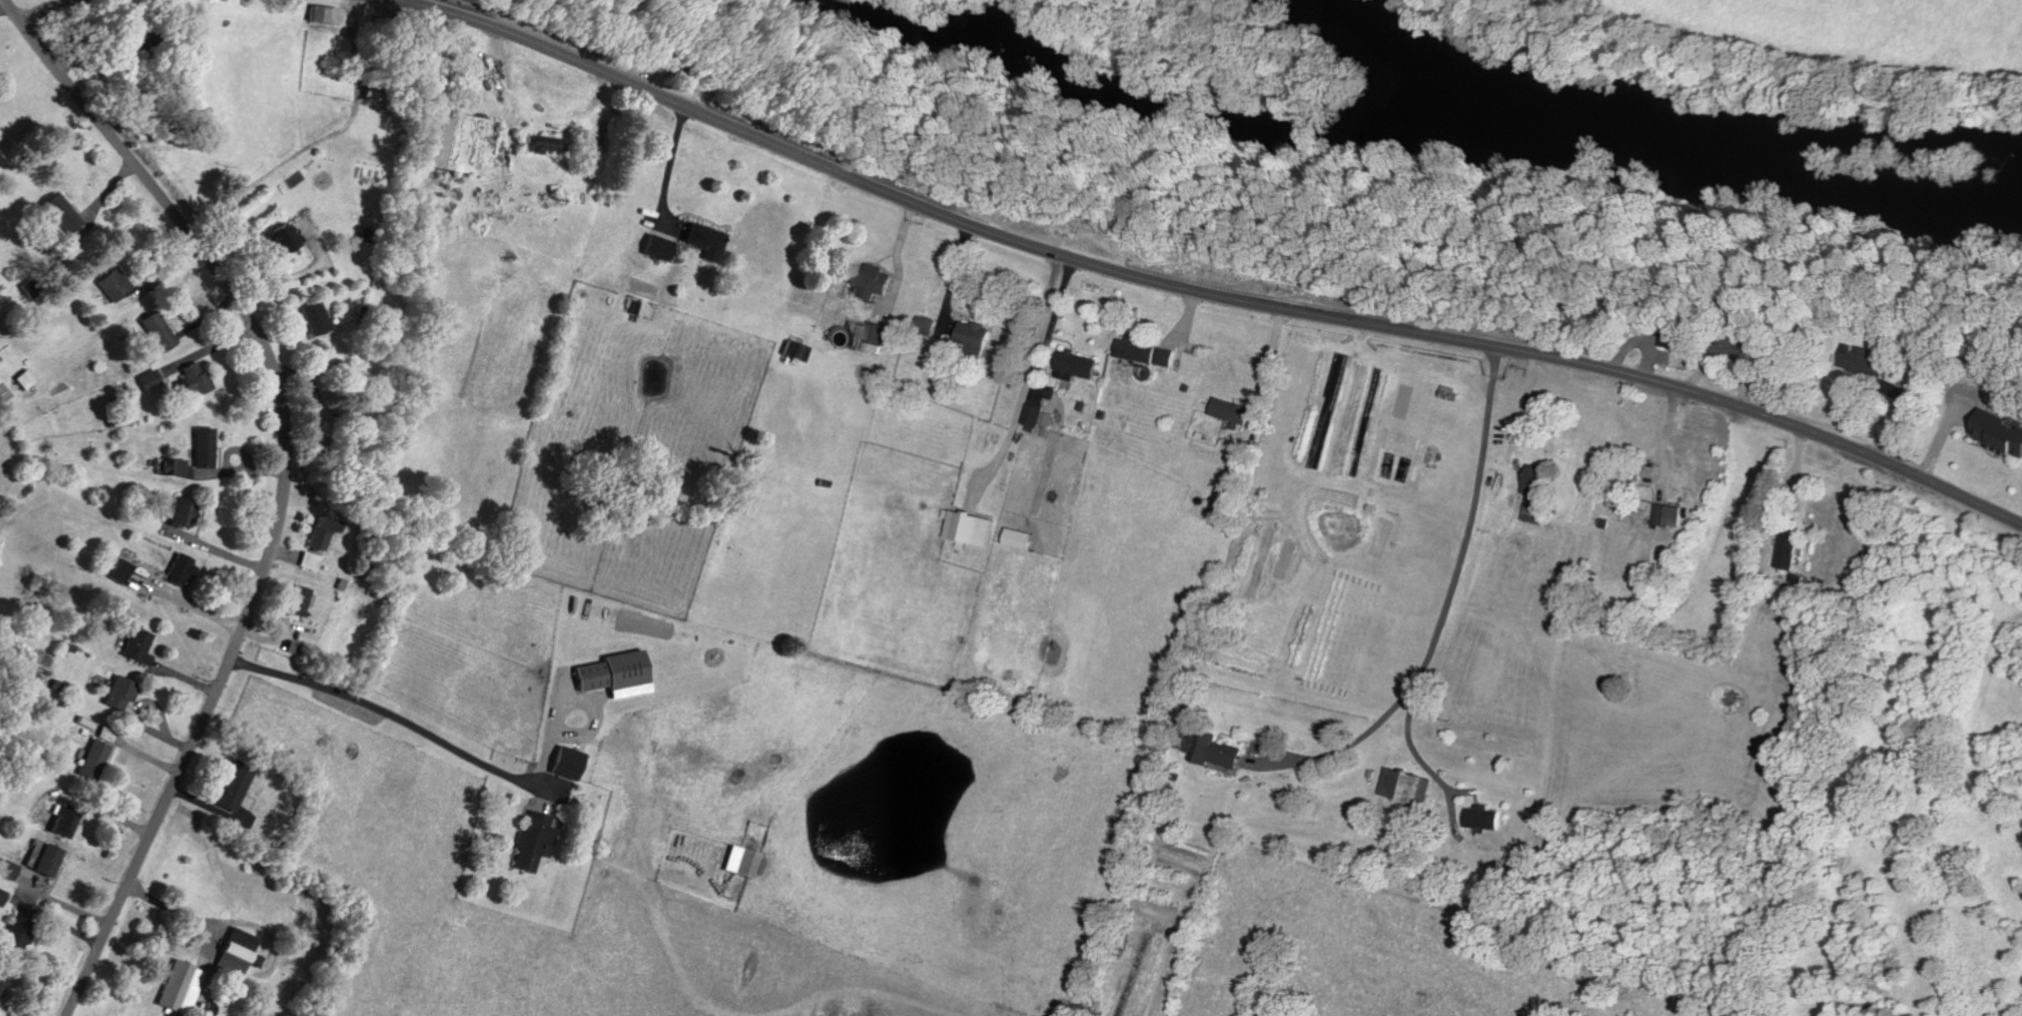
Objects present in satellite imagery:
road: (45, 8)
building: (327, 13)
river: (1540, 117)
building: (540, 145)
road: (280, 163)
road: (671, 166)
building: (65, 213)
building: (287, 238)
building: (708, 239)
building: (662, 246)
road: (898, 252)
building: (871, 279)
building: (117, 284)
road: (1190, 292)
building: (318, 318)
building: (162, 330)
building: (978, 334)
building: (873, 335)
building: (799, 349)
building: (1149, 351)
building: (1866, 359)
building: (1079, 365)
road: (1267, 374)
road: (1028, 377)
building: (28, 378)
building: (197, 378)
building: (152, 380)
road: (1043, 384)
building: (1232, 409)
building: (1039, 415)
building: (2001, 431)
road: (1667, 435)
building: (195, 455)
road: (282, 484)
road: (1499, 487)
building: (1534, 492)
building: (186, 513)
building: (972, 527)
building: (325, 531)
building: (1023, 537)
building: (1789, 553)
building: (311, 560)
building: (183, 567)
building: (123, 570)
building: (300, 599)
building: (301, 641)
building: (140, 645)
building: (621, 673)
building: (123, 692)
road: (1377, 720)
road: (465, 752)
building: (1226, 753)
road: (1418, 758)
building: (570, 762)
building: (1407, 784)
building: (234, 786)
building: (1485, 817)
building: (537, 840)
building: (50, 861)
building: (750, 862)
building: (11, 869)
road: (184, 914)
building: (240, 951)
building: (183, 984)

